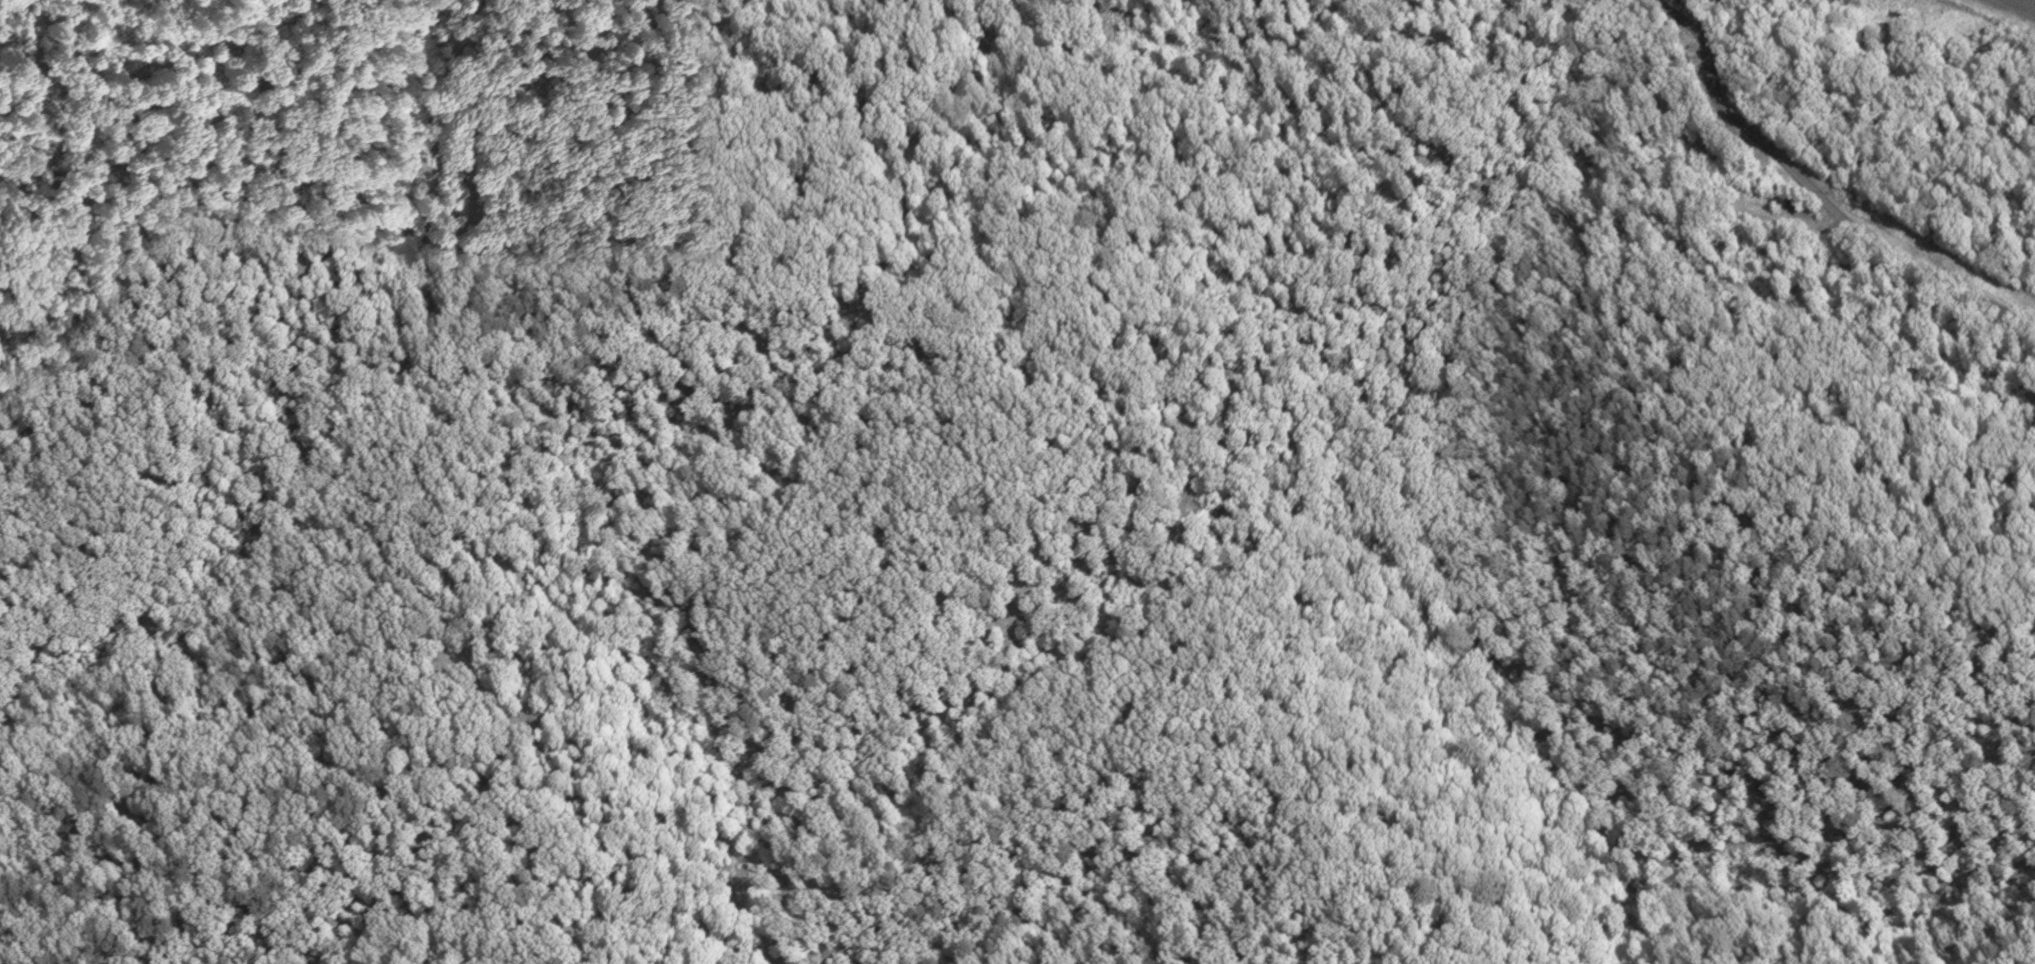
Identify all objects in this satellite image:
road: (1816, 194)

